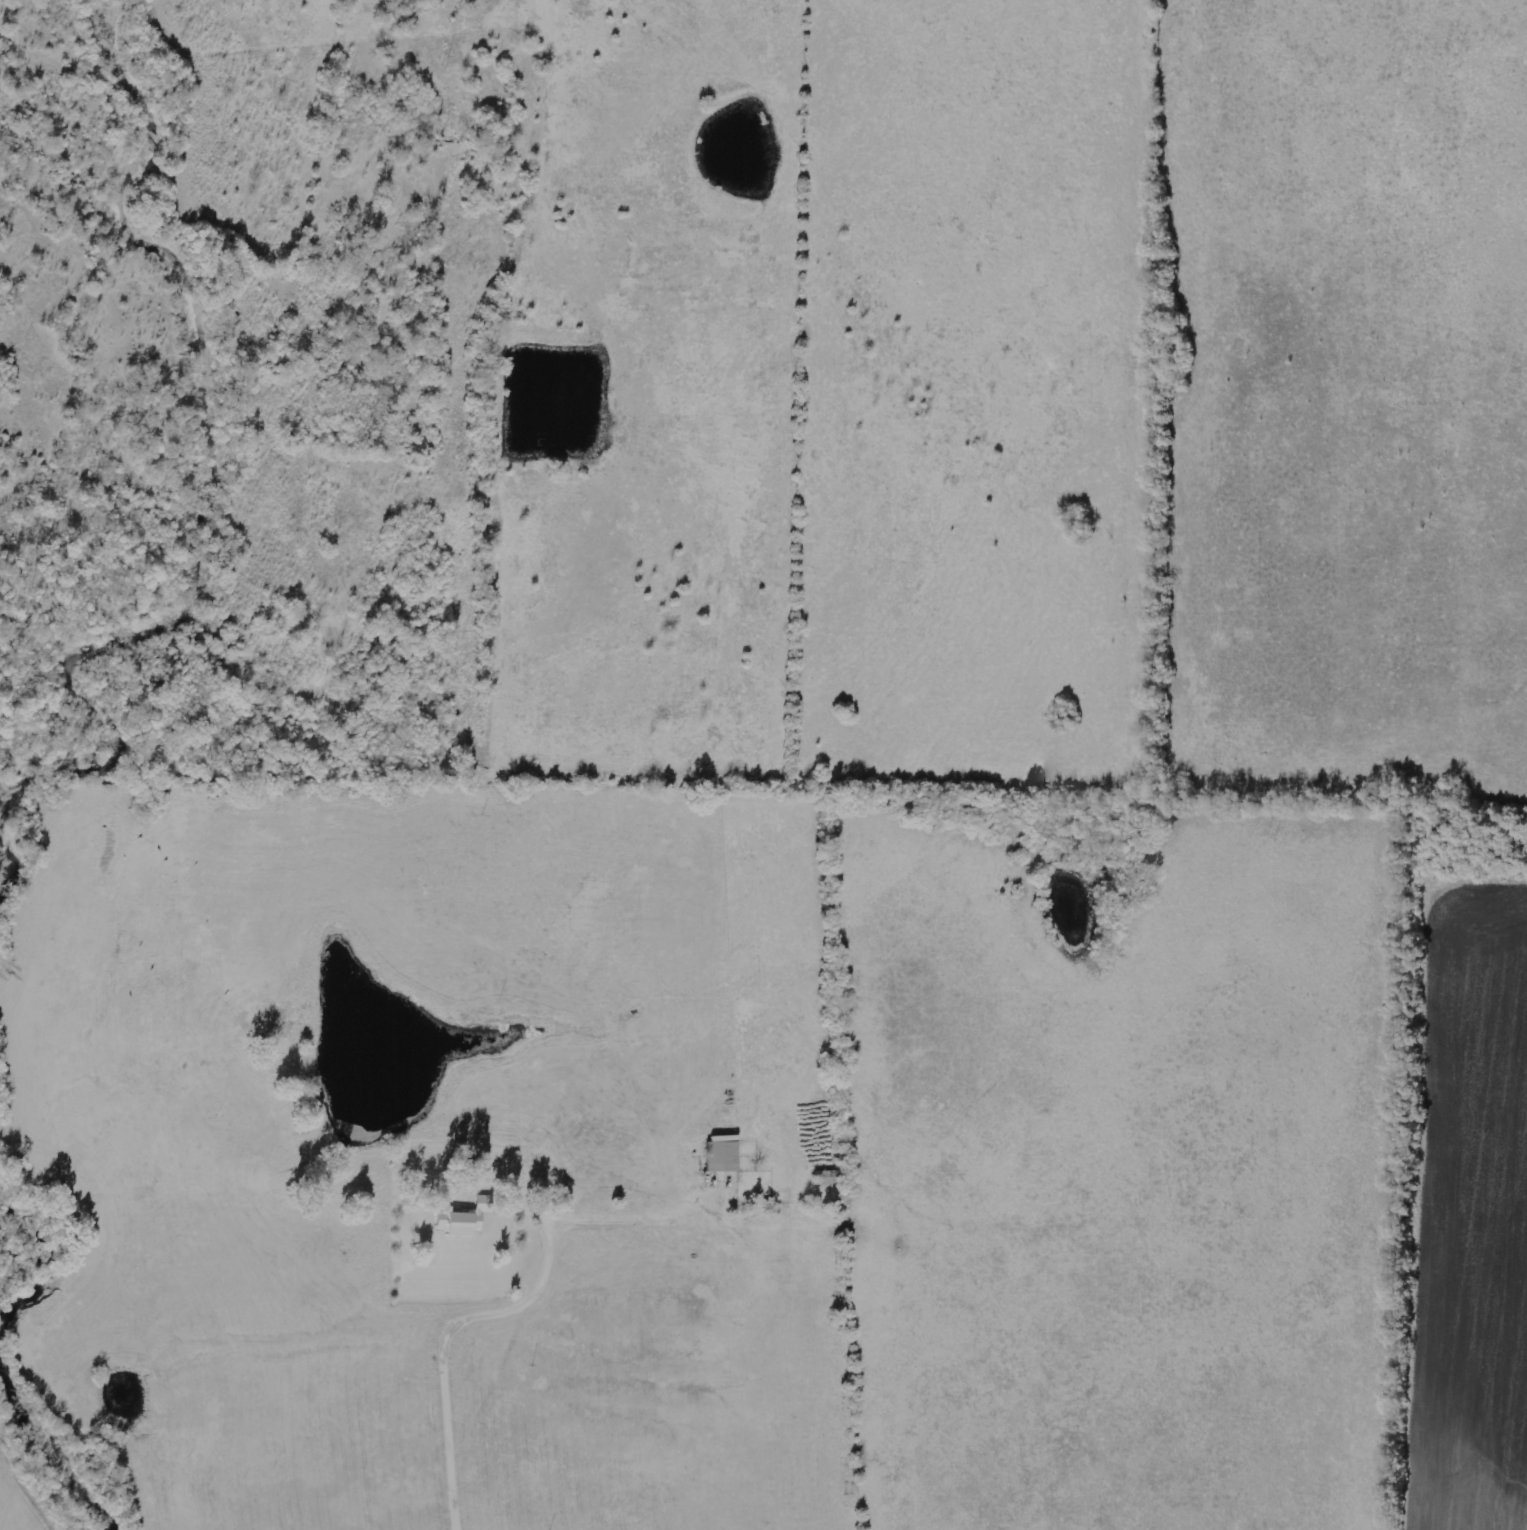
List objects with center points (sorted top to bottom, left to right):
building: (722, 1156)
building: (465, 1218)

